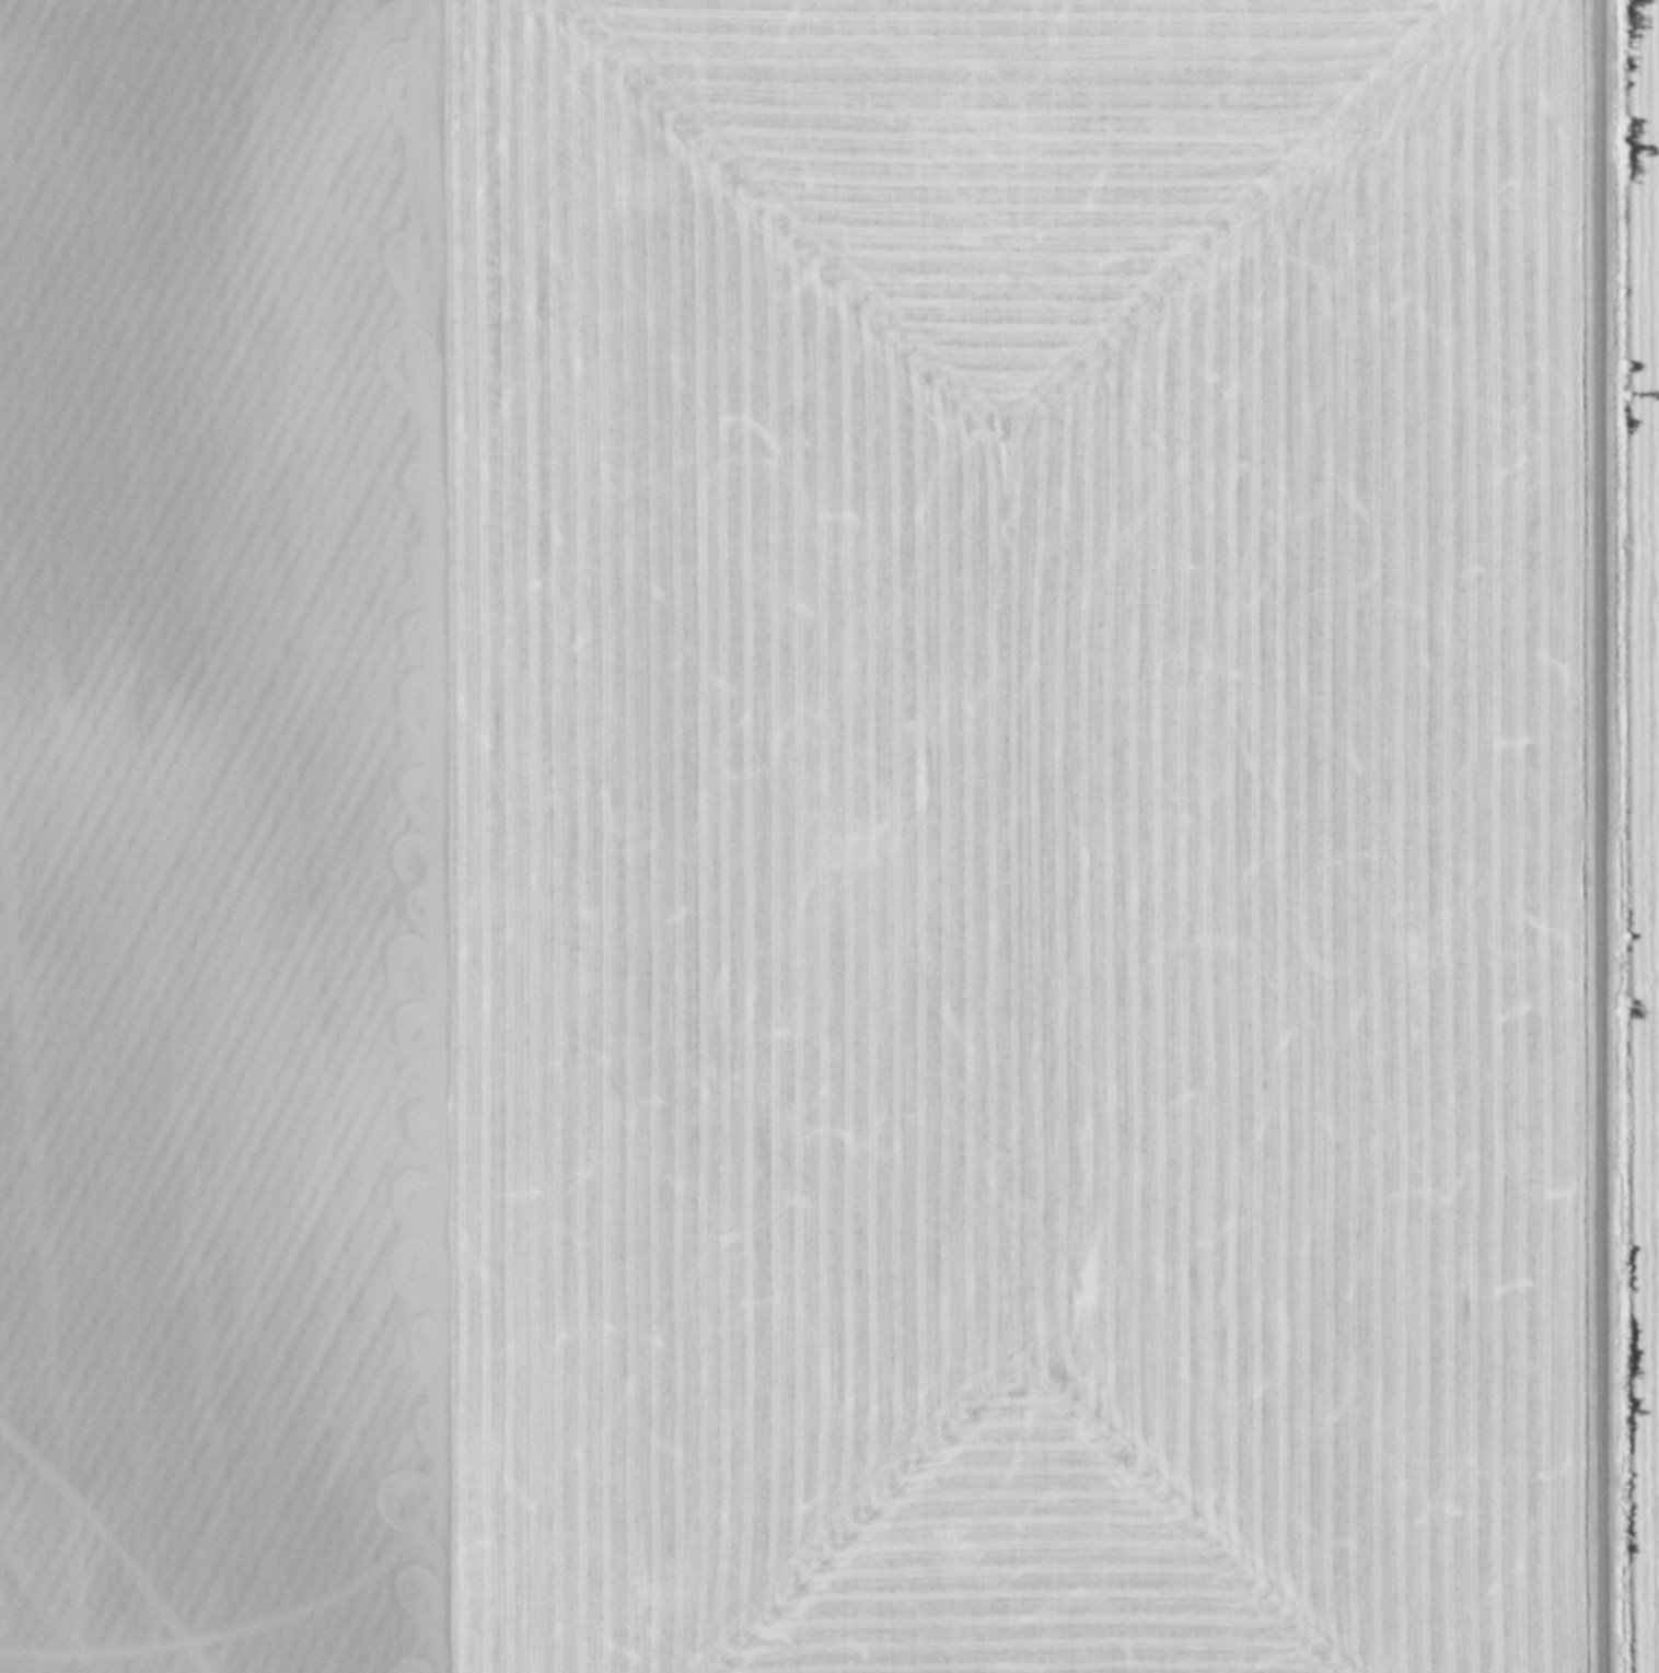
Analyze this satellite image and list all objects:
crop: (829, 836)
road: (1597, 836)

